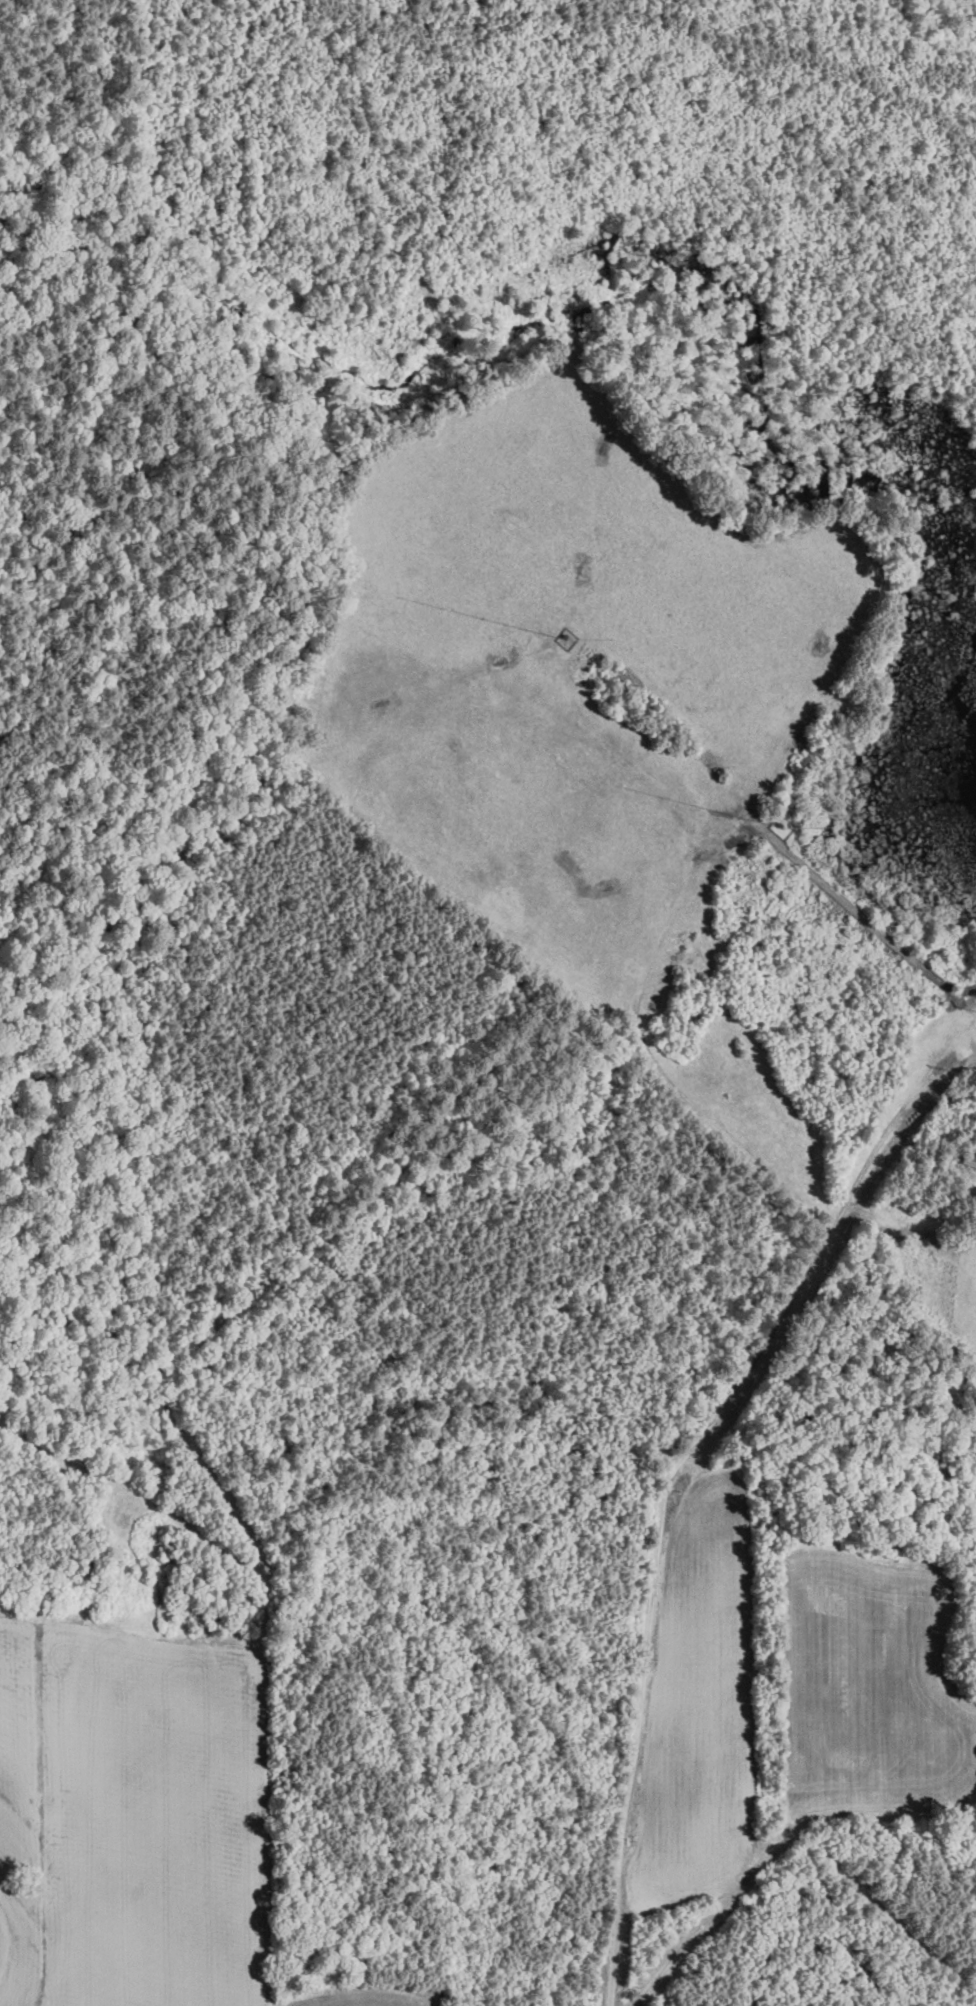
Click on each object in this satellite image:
building: (969, 1160)
road: (670, 1481)

